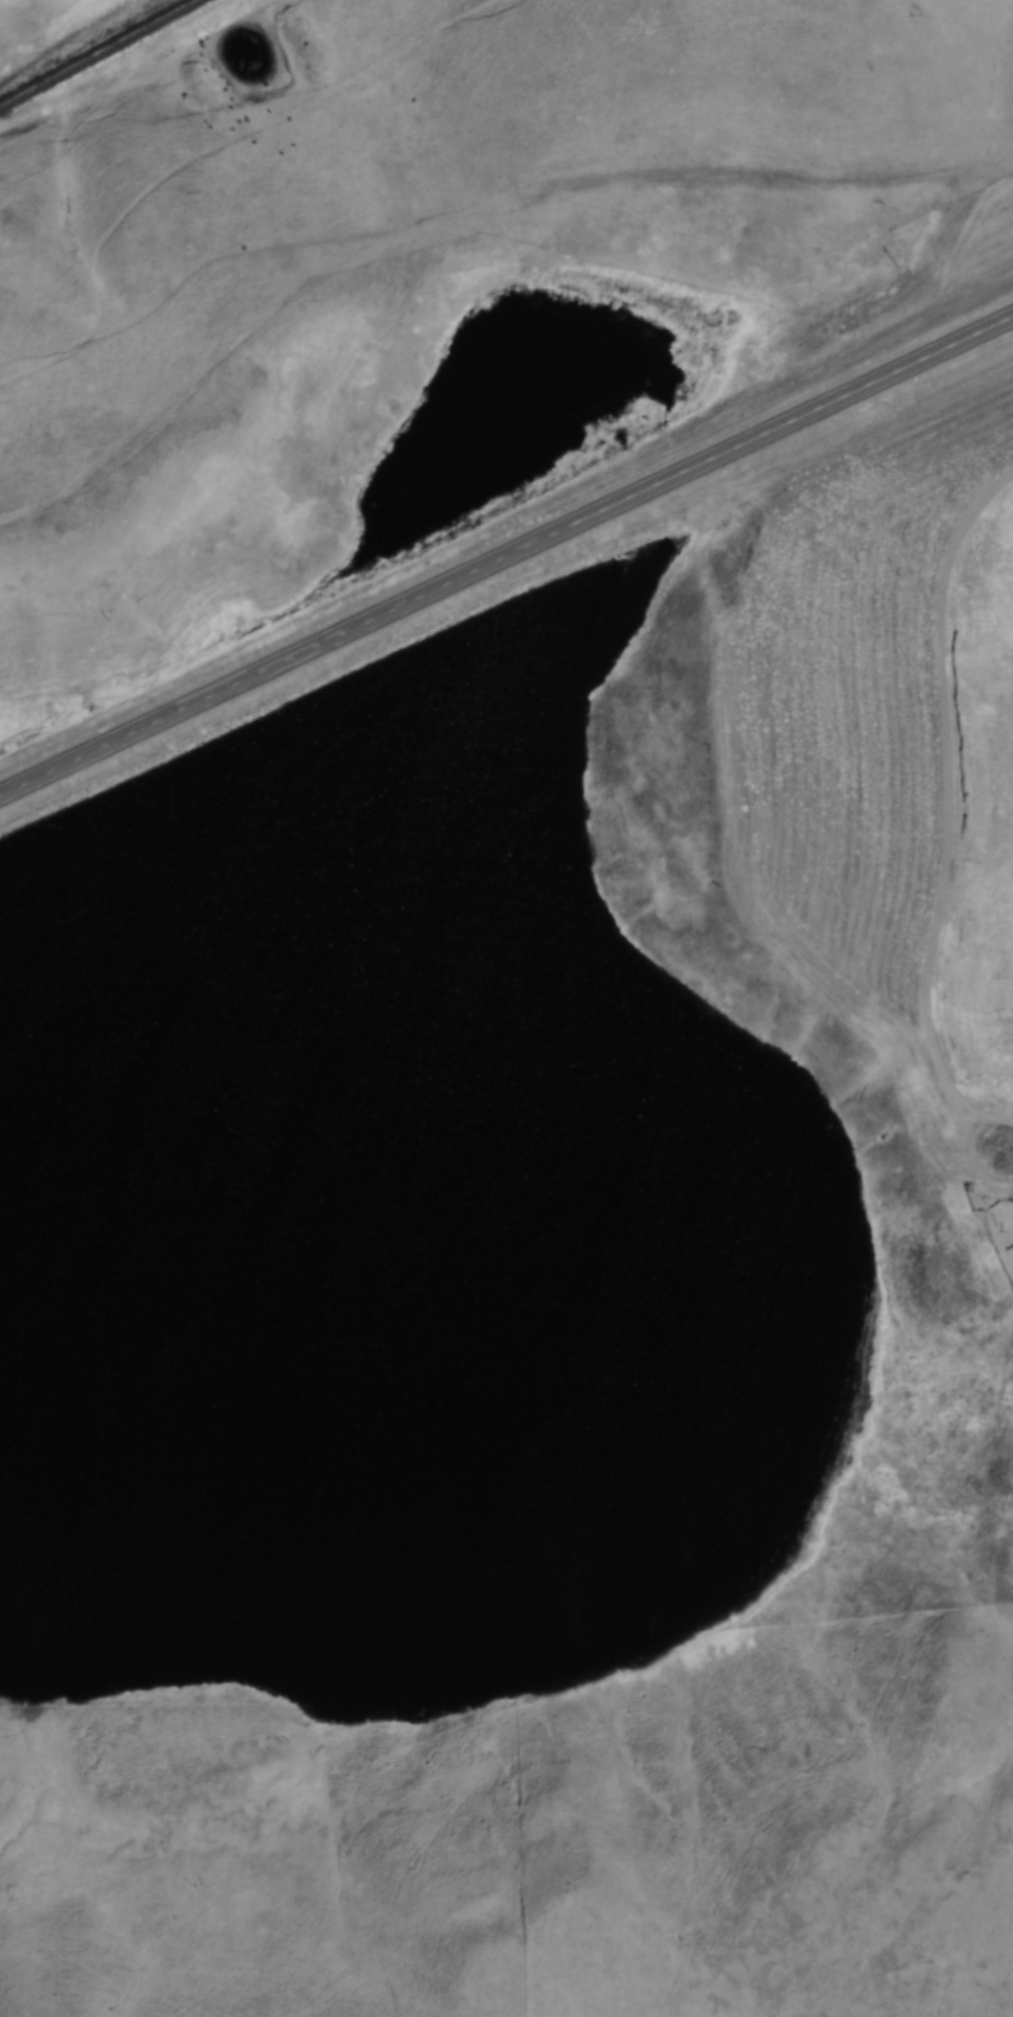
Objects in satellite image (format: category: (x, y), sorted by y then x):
railway: (117, 62)
road: (506, 559)
road: (947, 806)
building: (998, 1160)

